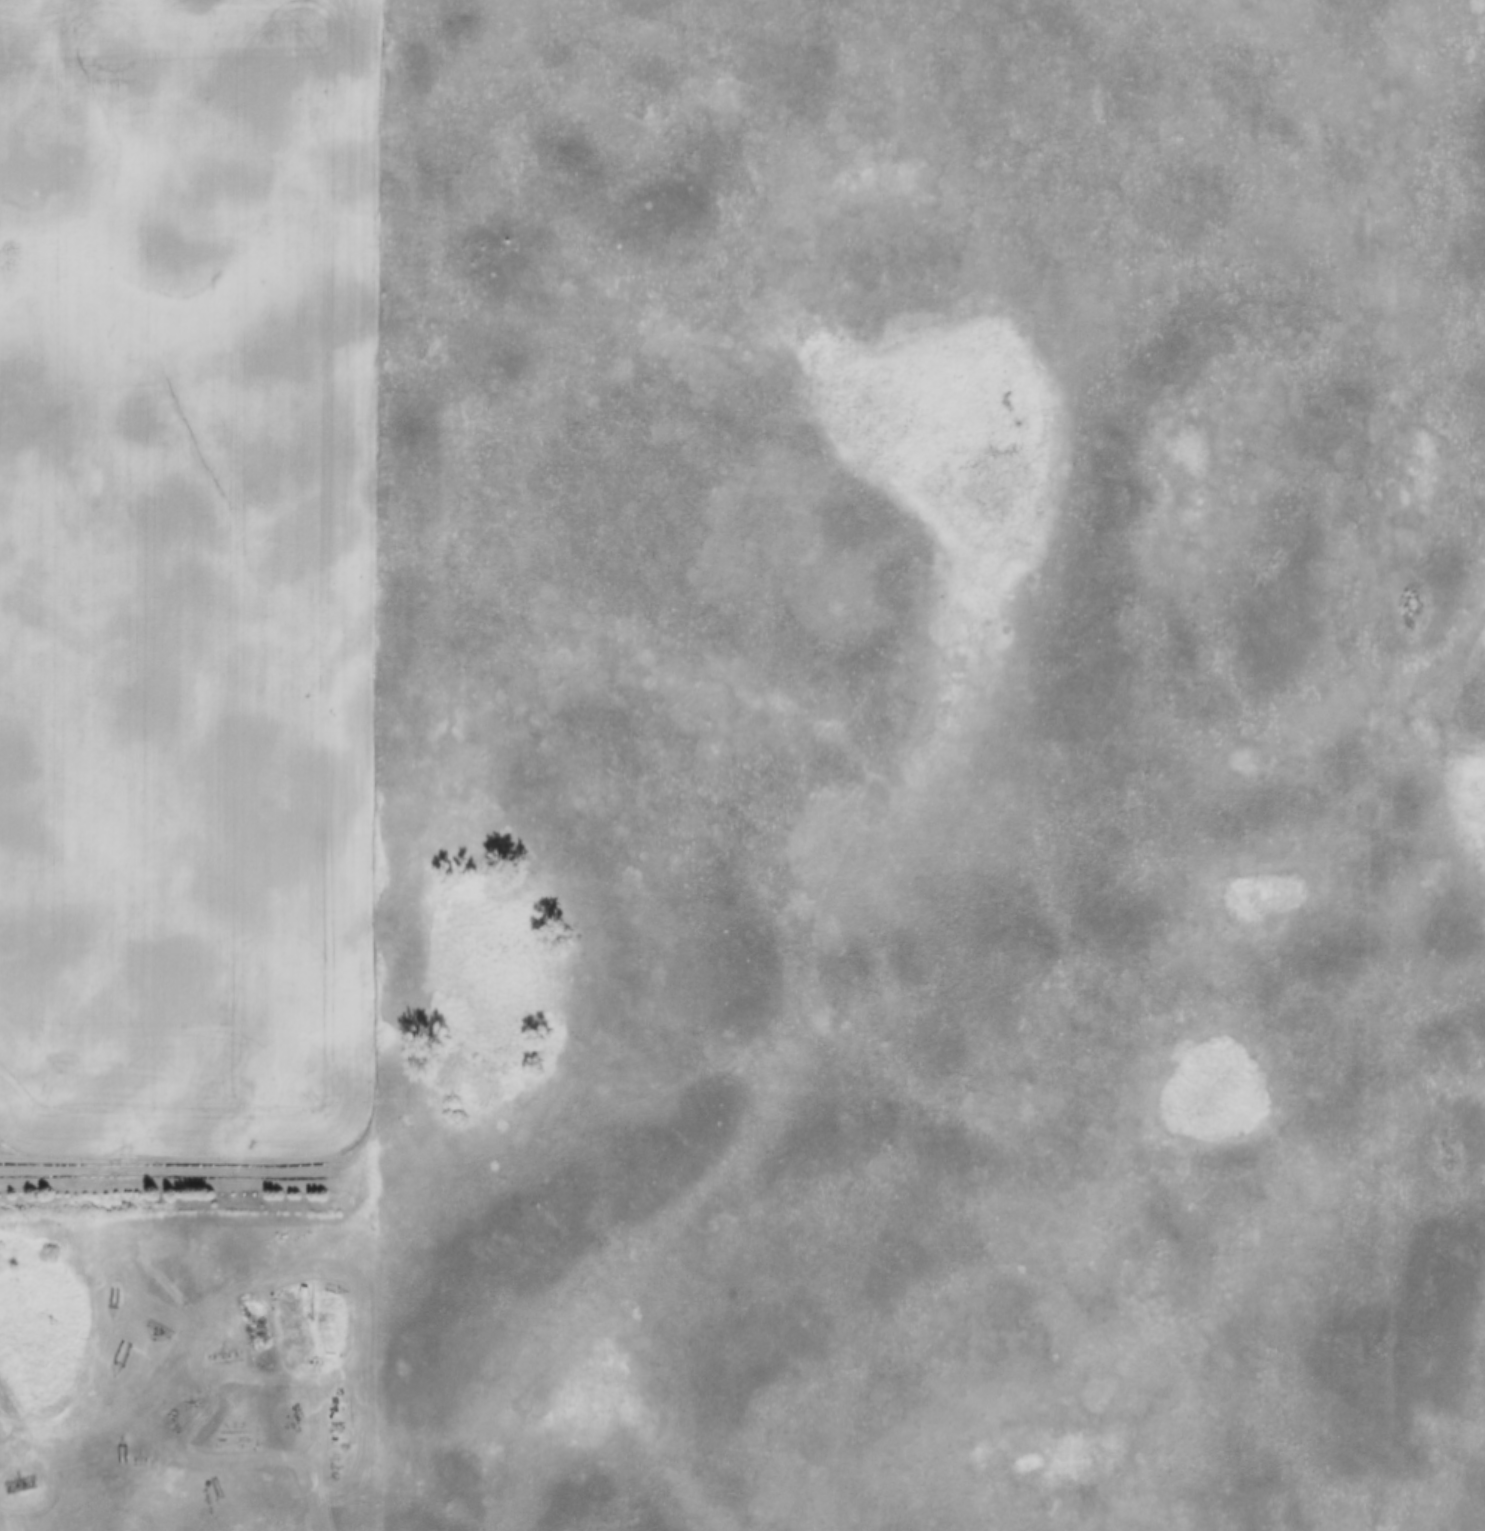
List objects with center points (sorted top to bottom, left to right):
road: (119, 1404)

